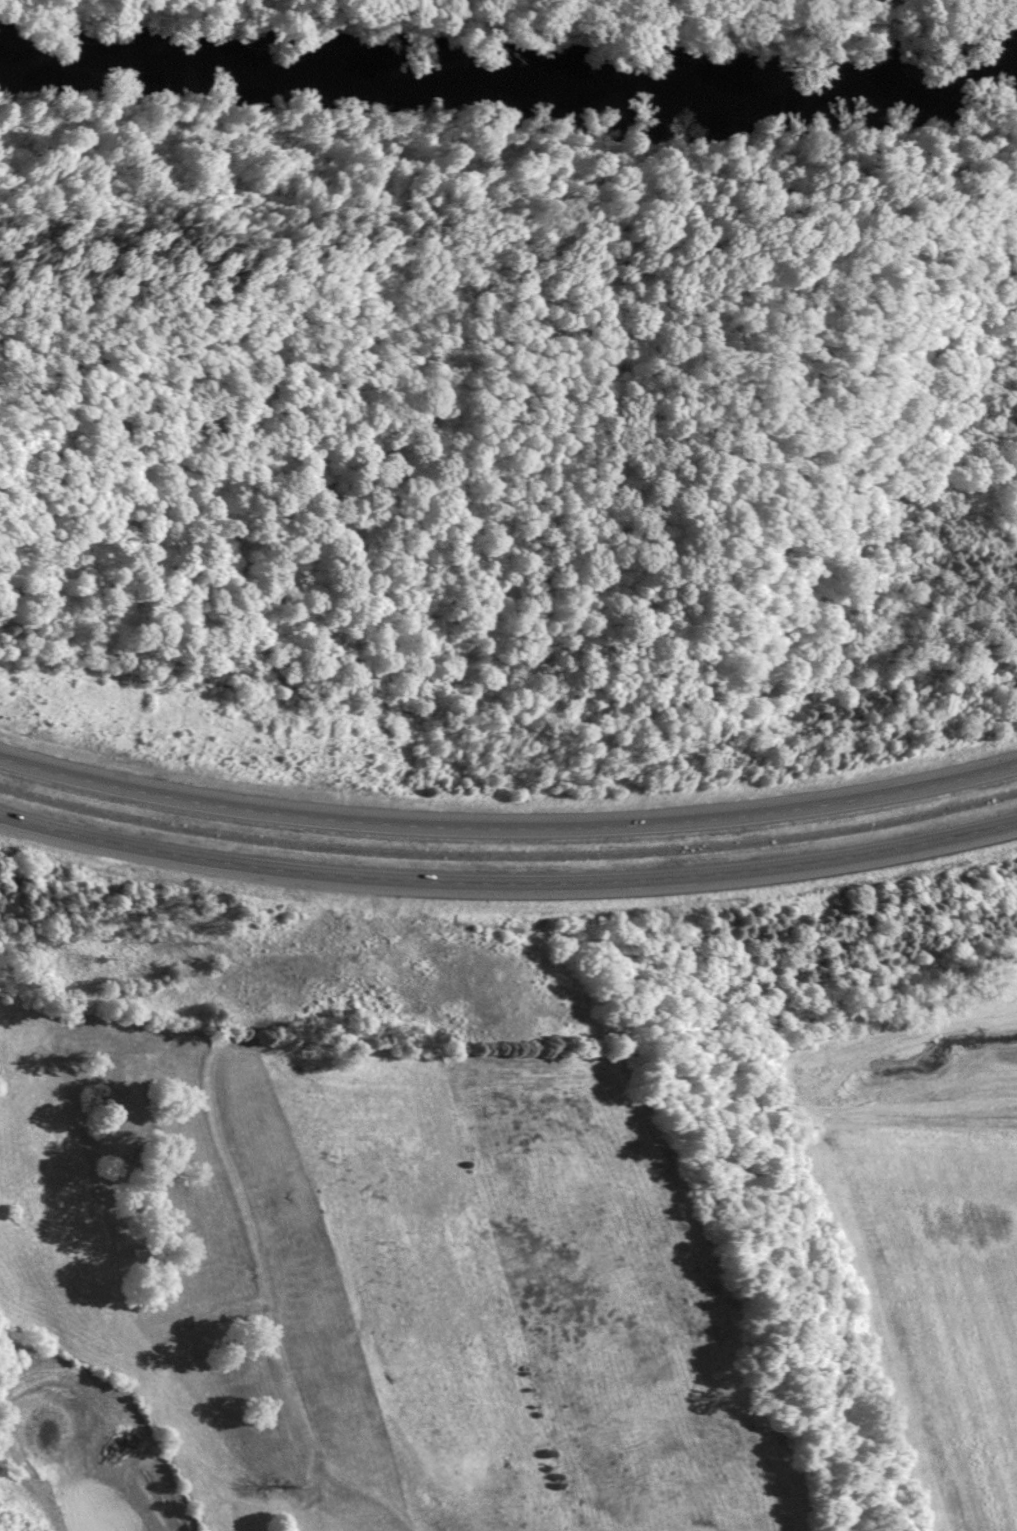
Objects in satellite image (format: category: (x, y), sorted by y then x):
river: (499, 161)
road: (508, 824)
road: (508, 880)

